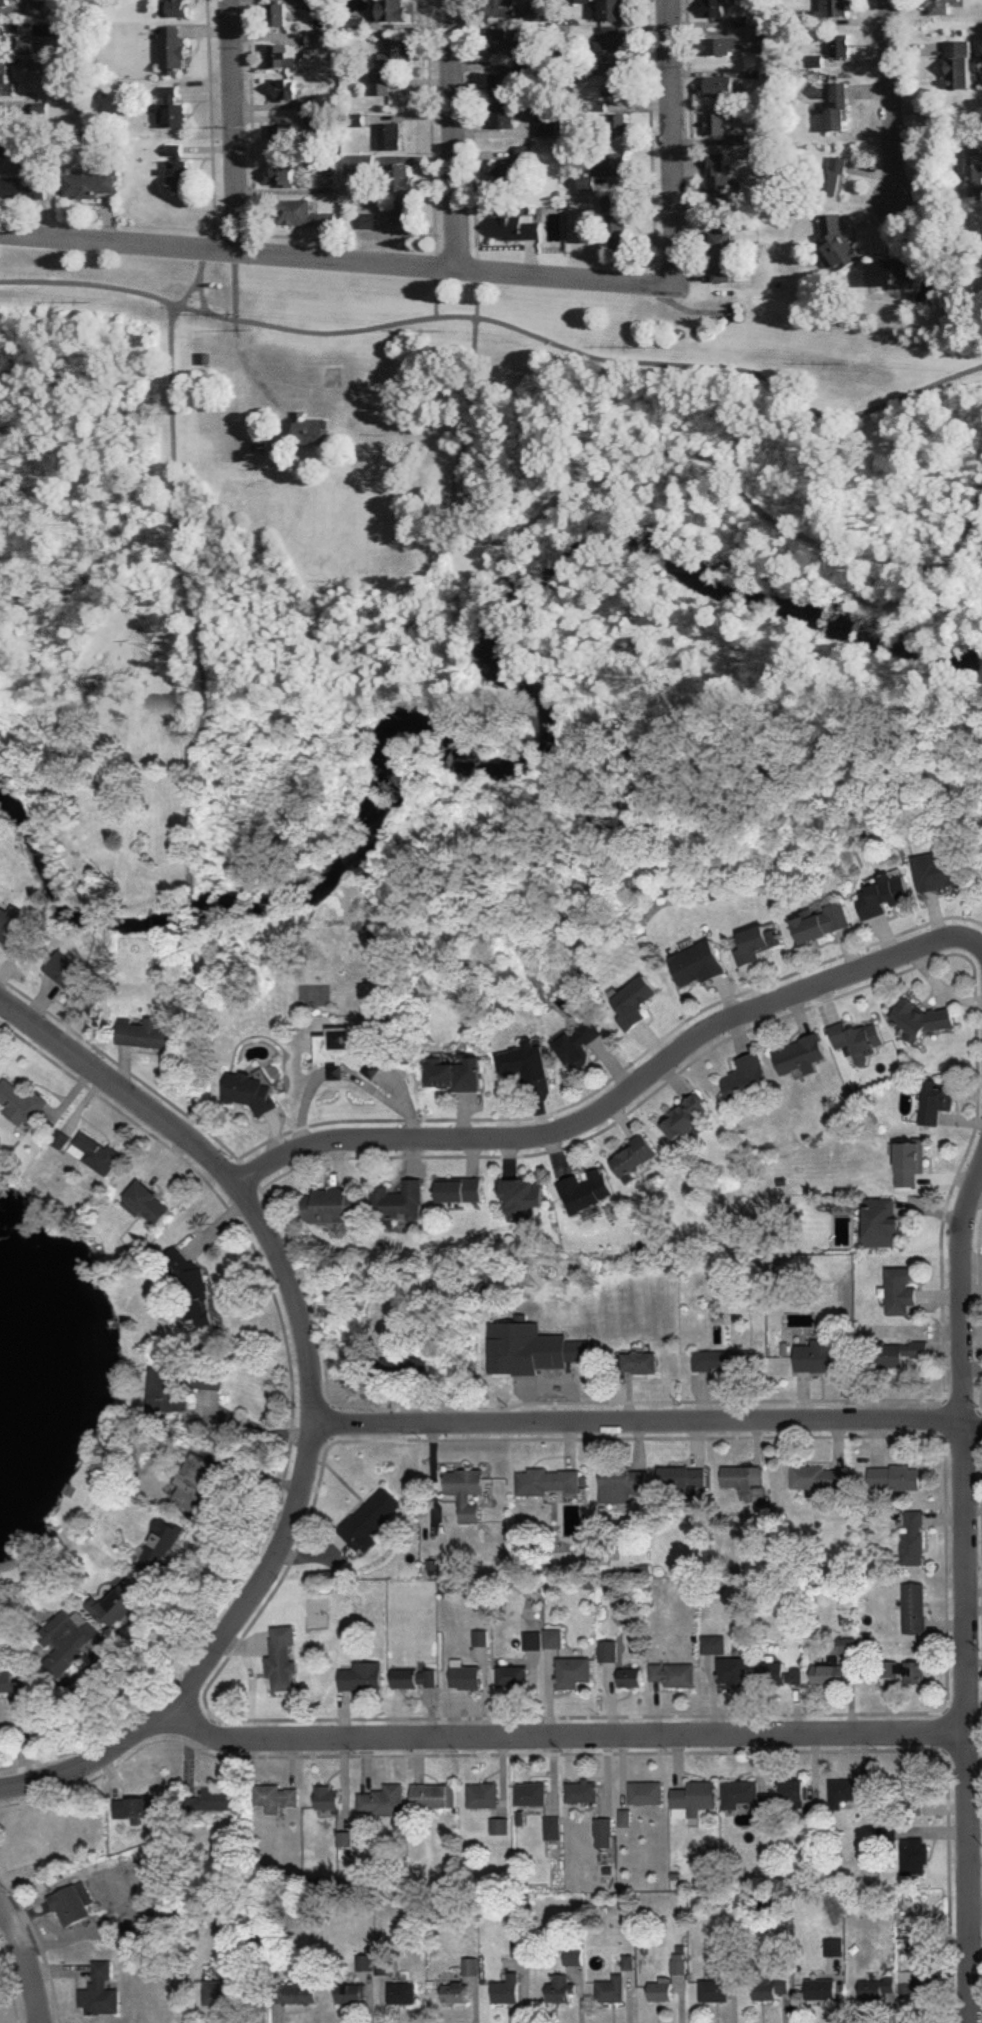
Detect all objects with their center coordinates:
building: (10, 3)
building: (940, 7)
building: (838, 8)
building: (179, 9)
building: (502, 9)
building: (715, 9)
building: (613, 10)
building: (394, 11)
building: (277, 15)
building: (358, 25)
building: (8, 31)
building: (320, 41)
building: (500, 41)
building: (768, 42)
building: (610, 46)
building: (719, 47)
building: (841, 47)
building: (25, 48)
building: (172, 52)
building: (281, 57)
building: (390, 65)
building: (42, 67)
building: (959, 67)
building: (6, 81)
building: (617, 85)
building: (499, 86)
building: (721, 87)
building: (283, 90)
road: (889, 102)
building: (838, 109)
building: (171, 111)
road: (935, 115)
building: (503, 117)
building: (4, 118)
building: (316, 122)
building: (717, 125)
road: (230, 126)
building: (547, 126)
building: (617, 126)
road: (450, 135)
building: (282, 137)
building: (390, 137)
road: (674, 141)
building: (6, 147)
building: (525, 153)
building: (324, 163)
building: (359, 163)
building: (615, 166)
building: (974, 173)
building: (282, 175)
building: (507, 175)
building: (178, 177)
building: (834, 177)
building: (399, 179)
building: (719, 182)
building: (587, 184)
building: (88, 185)
building: (23, 189)
building: (403, 211)
building: (301, 215)
building: (371, 221)
building: (617, 226)
building: (517, 228)
building: (721, 257)
road: (336, 260)
building: (892, 276)
road: (194, 282)
road: (232, 286)
road: (433, 294)
road: (198, 297)
road: (501, 325)
building: (309, 431)
road: (657, 457)
road: (891, 563)
park: (531, 585)
road: (187, 591)
river: (513, 765)
building: (941, 871)
building: (885, 895)
road: (188, 905)
building: (823, 923)
building: (17, 932)
road: (953, 936)
building: (757, 943)
building: (698, 964)
building: (76, 981)
building: (635, 1002)
building: (924, 1018)
road: (193, 1028)
building: (145, 1034)
building: (859, 1036)
building: (579, 1044)
building: (351, 1052)
building: (800, 1054)
building: (525, 1063)
building: (456, 1074)
building: (747, 1076)
building: (252, 1091)
building: (938, 1099)
building: (21, 1102)
building: (686, 1115)
road: (595, 1117)
building: (61, 1139)
road: (221, 1144)
building: (95, 1152)
building: (635, 1154)
building: (719, 1154)
building: (911, 1163)
road: (223, 1165)
building: (460, 1189)
building: (587, 1189)
building: (523, 1193)
building: (399, 1200)
building: (147, 1202)
building: (332, 1204)
building: (882, 1220)
building: (901, 1289)
building: (530, 1347)
building: (896, 1352)
building: (815, 1356)
building: (722, 1360)
building: (640, 1362)
building: (402, 1366)
building: (209, 1378)
building: (169, 1388)
road: (648, 1419)
road: (252, 1424)
building: (682, 1477)
building: (743, 1477)
building: (819, 1477)
building: (895, 1477)
building: (547, 1480)
building: (196, 1481)
building: (622, 1483)
building: (466, 1491)
building: (370, 1519)
building: (914, 1538)
building: (161, 1549)
road: (964, 1591)
building: (123, 1603)
building: (915, 1608)
building: (68, 1638)
building: (554, 1638)
building: (533, 1639)
building: (715, 1644)
building: (609, 1650)
road: (211, 1655)
building: (282, 1658)
building: (906, 1670)
building: (573, 1671)
building: (734, 1672)
building: (779, 1673)
building: (673, 1674)
building: (828, 1674)
building: (362, 1676)
building: (468, 1677)
building: (513, 1677)
building: (631, 1677)
building: (415, 1678)
building: (15, 1685)
road: (562, 1735)
building: (645, 1790)
building: (582, 1791)
building: (849, 1791)
building: (795, 1792)
building: (915, 1792)
building: (531, 1793)
building: (744, 1794)
building: (484, 1795)
building: (695, 1795)
building: (275, 1796)
building: (435, 1796)
building: (328, 1798)
building: (212, 1799)
building: (383, 1800)
building: (136, 1806)
building: (624, 1817)
building: (500, 1825)
building: (553, 1828)
building: (604, 1831)
building: (915, 1856)
building: (71, 1905)
building: (834, 1947)
building: (573, 1957)
road: (26, 1959)
building: (678, 1965)
building: (383, 1966)
building: (920, 1977)
building: (771, 1986)
building: (876, 1986)
building: (559, 1988)
building: (820, 1988)
building: (507, 1989)
building: (611, 1989)
building: (714, 1989)
building: (227, 1990)
building: (100, 1991)
building: (404, 1991)
building: (454, 1991)
building: (660, 1991)
building: (296, 1992)
building: (352, 1992)

